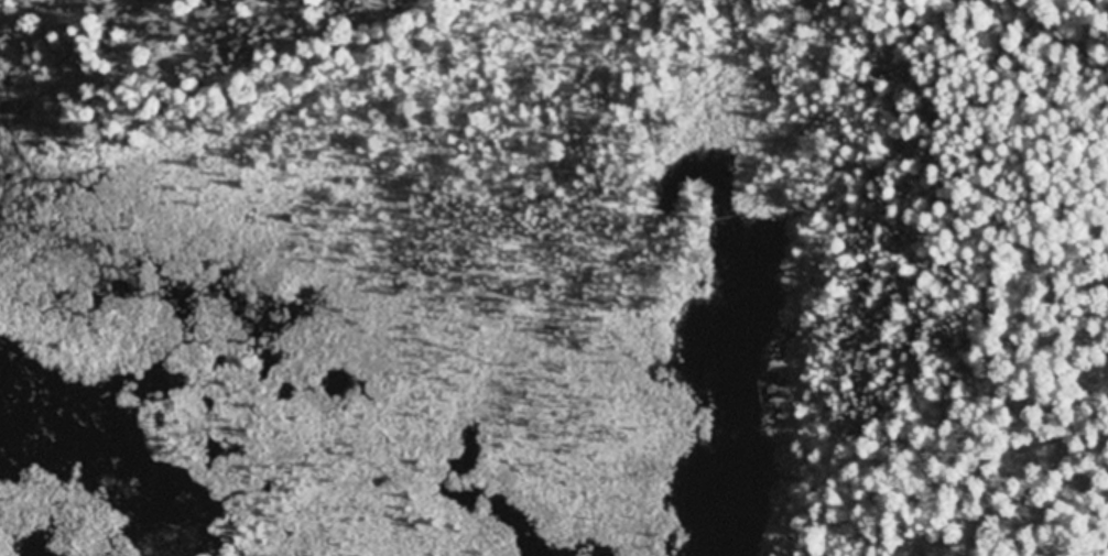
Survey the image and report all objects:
road: (1094, 532)

